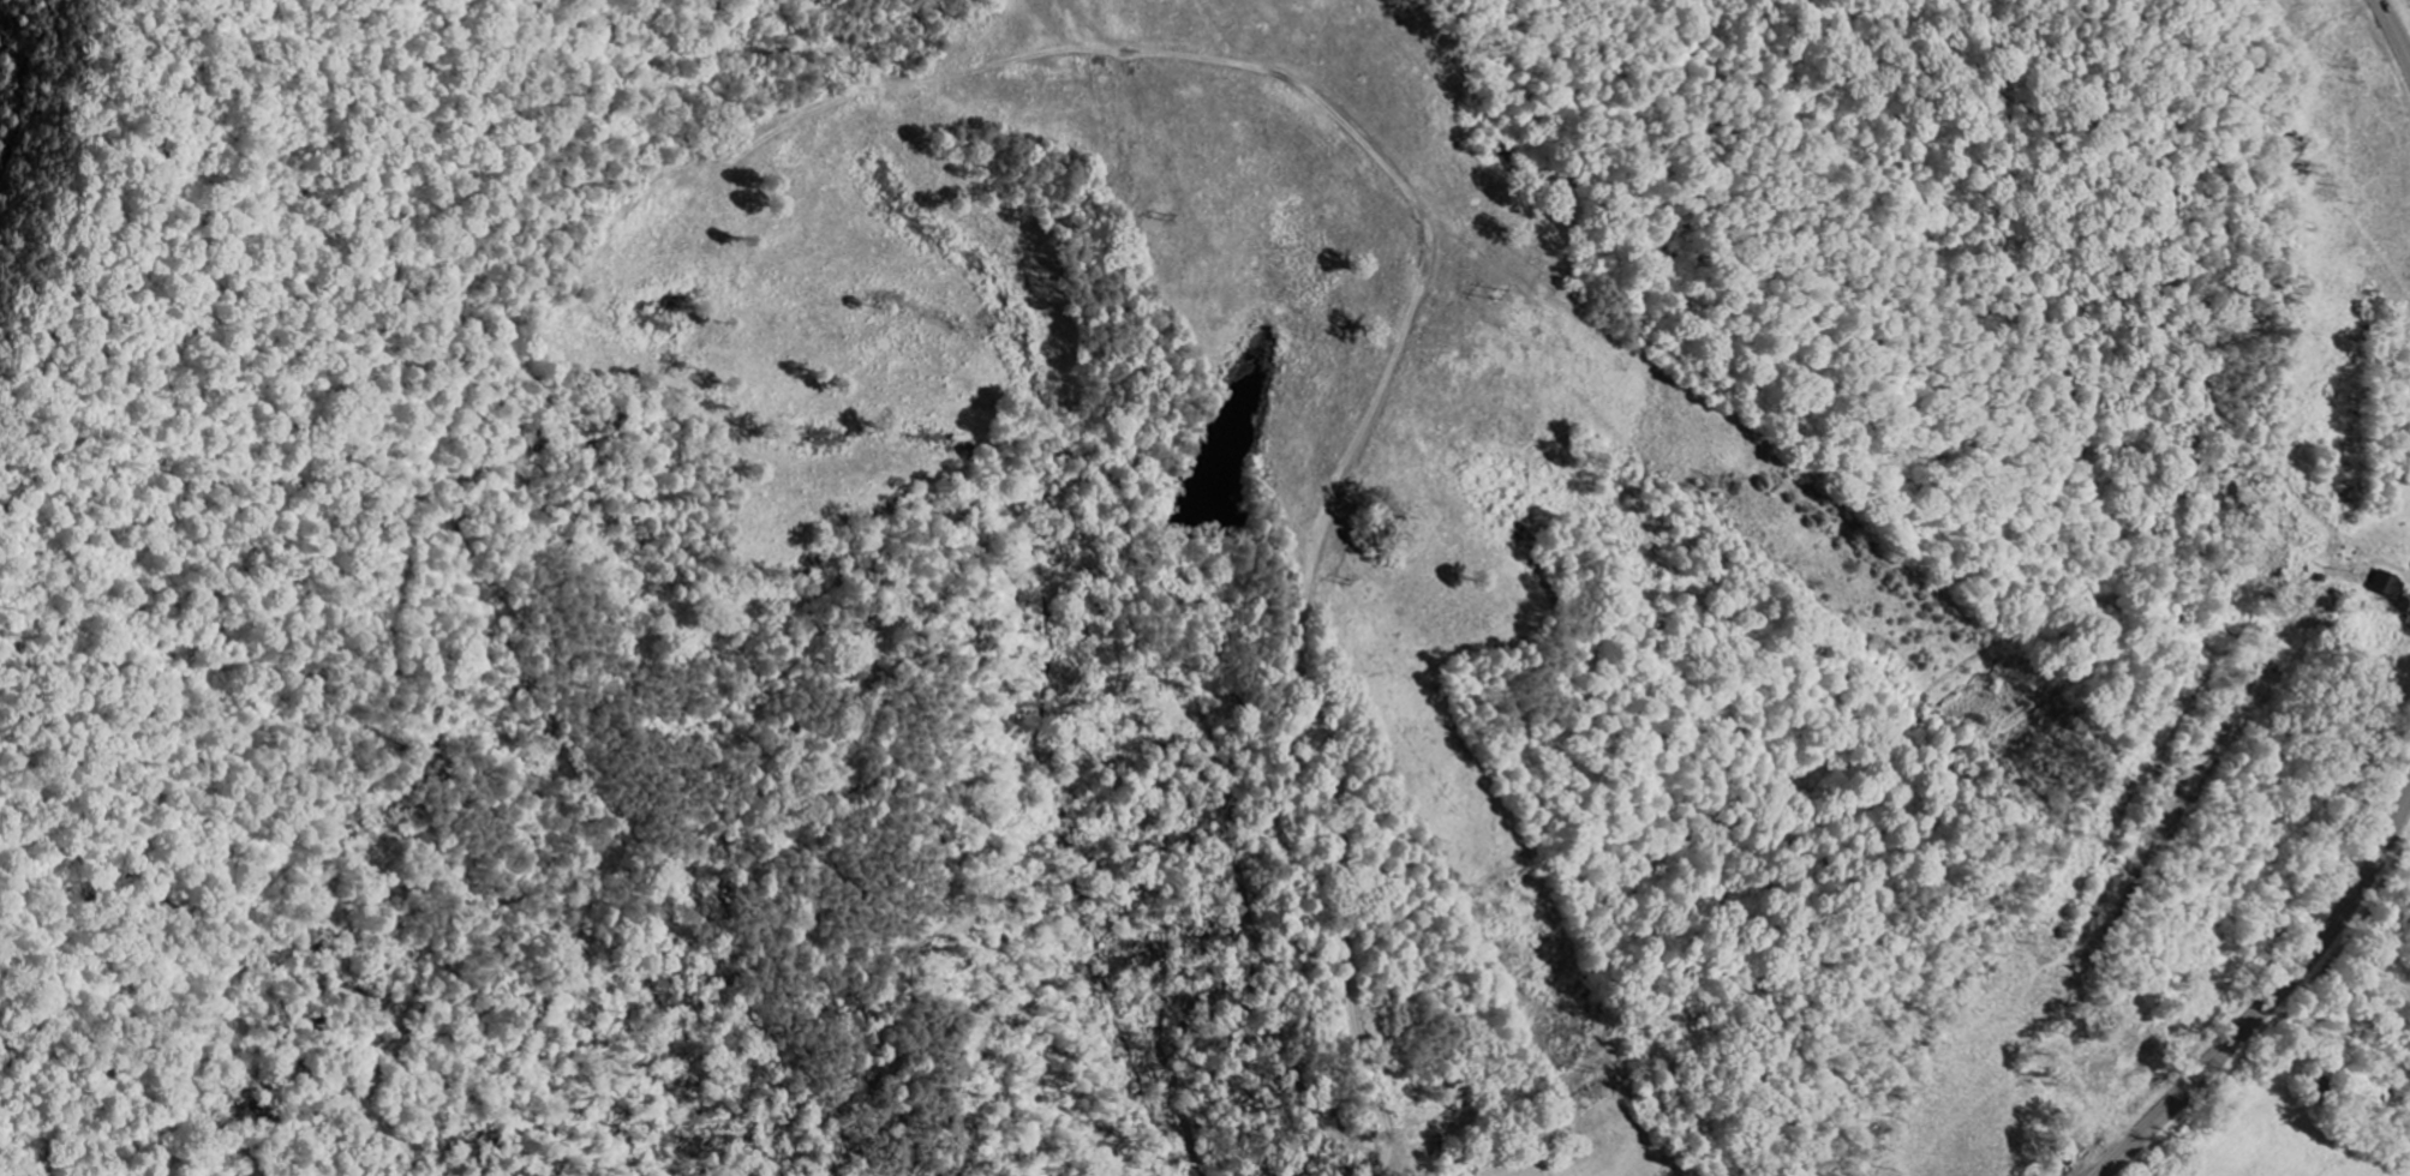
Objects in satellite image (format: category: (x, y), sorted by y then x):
road: (2396, 26)
power tower: (1718, 486)
road: (1341, 493)
road: (2272, 997)
park: (1551, 1141)

